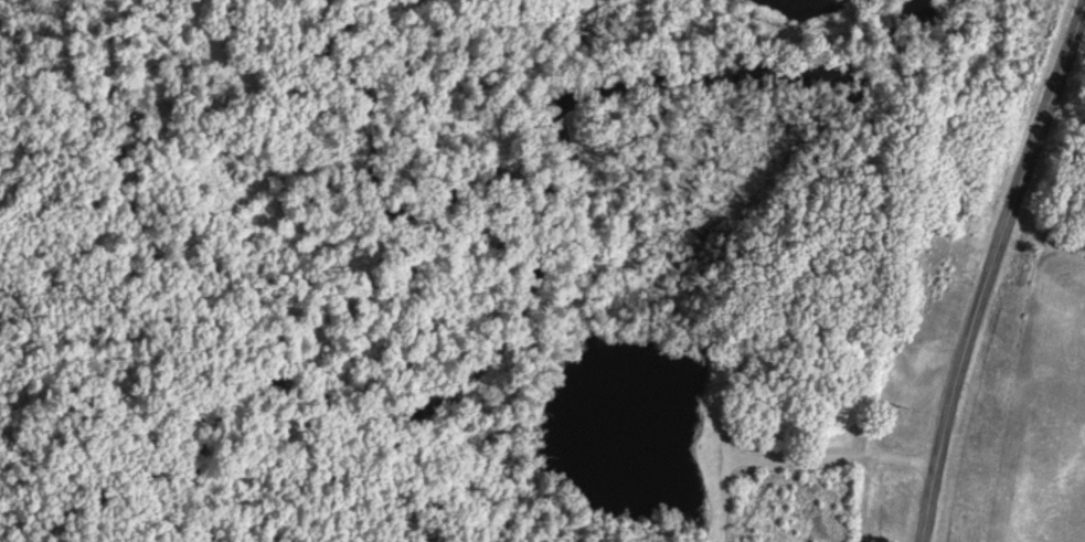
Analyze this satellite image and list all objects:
park: (443, 269)
road: (991, 272)
road: (868, 450)
road: (831, 457)
road: (725, 464)

